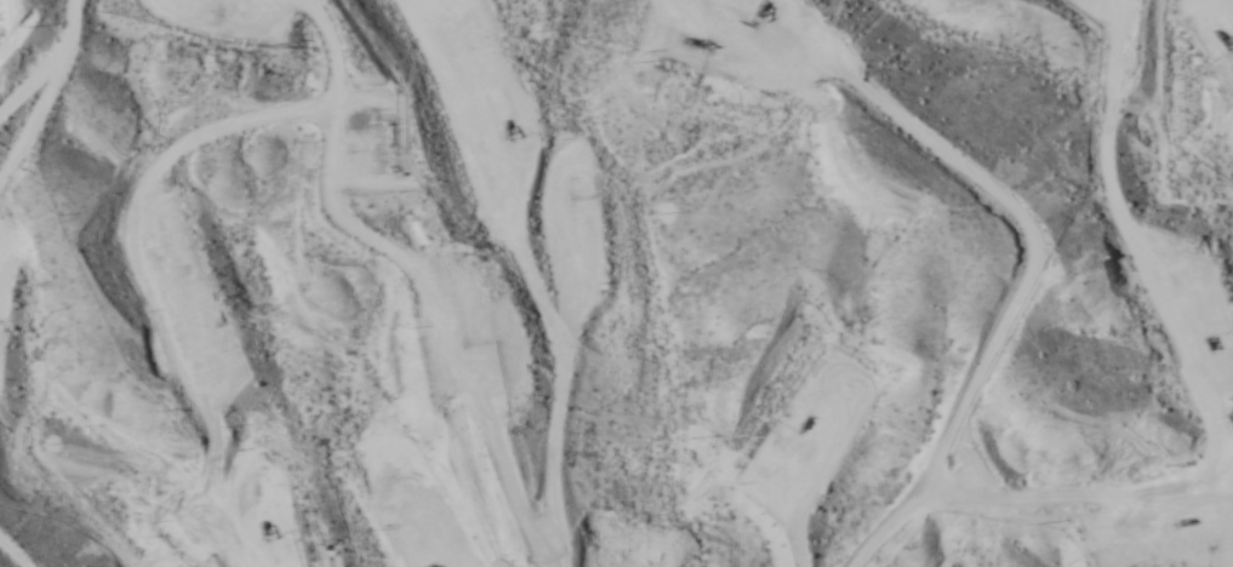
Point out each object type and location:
road: (1203, 34)

